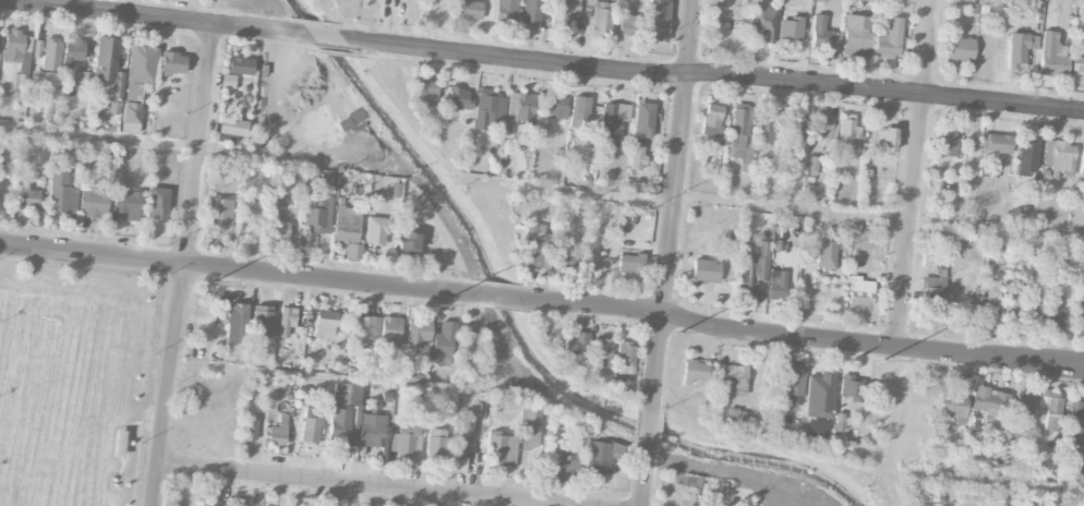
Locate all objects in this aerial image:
building: (419, 0)
building: (1032, 0)
building: (505, 7)
building: (468, 10)
building: (529, 12)
building: (563, 12)
road: (145, 17)
building: (601, 20)
building: (658, 20)
building: (762, 21)
building: (627, 24)
building: (718, 29)
building: (790, 29)
building: (823, 35)
building: (856, 35)
road: (323, 36)
building: (889, 39)
building: (13, 46)
building: (1020, 48)
building: (1077, 48)
building: (73, 50)
building: (959, 50)
building: (50, 55)
building: (1051, 57)
building: (142, 64)
building: (171, 64)
building: (240, 65)
building: (108, 68)
road: (719, 77)
building: (83, 79)
building: (1076, 80)
building: (228, 81)
building: (131, 92)
building: (425, 92)
building: (458, 98)
building: (519, 107)
building: (555, 108)
building: (419, 109)
building: (489, 109)
building: (131, 112)
building: (579, 112)
building: (643, 119)
building: (712, 120)
building: (613, 123)
building: (794, 125)
building: (231, 126)
building: (822, 126)
building: (766, 128)
building: (739, 134)
building: (848, 134)
building: (226, 138)
building: (884, 142)
building: (946, 143)
building: (995, 143)
road: (198, 145)
road: (203, 152)
building: (1027, 156)
building: (1058, 156)
building: (636, 158)
building: (1082, 160)
road: (916, 174)
building: (329, 184)
building: (61, 192)
building: (27, 197)
road: (673, 202)
building: (93, 204)
building: (128, 205)
road: (778, 206)
building: (318, 213)
building: (219, 216)
building: (279, 230)
building: (348, 230)
building: (378, 231)
building: (408, 243)
building: (535, 246)
building: (826, 254)
building: (934, 258)
building: (565, 262)
building: (630, 265)
building: (754, 268)
road: (236, 269)
building: (704, 270)
power tower: (214, 281)
building: (776, 288)
building: (860, 292)
road: (502, 297)
building: (931, 298)
power tower: (435, 304)
building: (988, 306)
building: (1034, 308)
building: (1012, 309)
building: (1053, 316)
building: (261, 317)
building: (1081, 321)
building: (286, 322)
building: (325, 322)
building: (366, 327)
building: (236, 329)
building: (389, 330)
power tower: (680, 332)
building: (417, 334)
road: (805, 338)
building: (465, 339)
building: (444, 340)
building: (575, 344)
building: (602, 349)
building: (626, 358)
power tower: (883, 359)
building: (695, 371)
building: (733, 377)
park: (73, 381)
road: (359, 381)
road: (168, 385)
building: (788, 387)
building: (851, 388)
building: (346, 395)
building: (952, 405)
building: (990, 407)
building: (1024, 408)
building: (1052, 414)
building: (735, 417)
building: (1074, 424)
building: (310, 426)
building: (339, 426)
building: (529, 426)
road: (648, 426)
building: (250, 430)
building: (373, 431)
building: (816, 431)
building: (278, 432)
building: (466, 433)
building: (408, 438)
building: (437, 443)
building: (501, 449)
building: (597, 457)
building: (566, 459)
building: (1072, 463)
building: (459, 465)
road: (642, 478)
road: (985, 481)
building: (689, 482)
road: (361, 485)
building: (217, 503)

